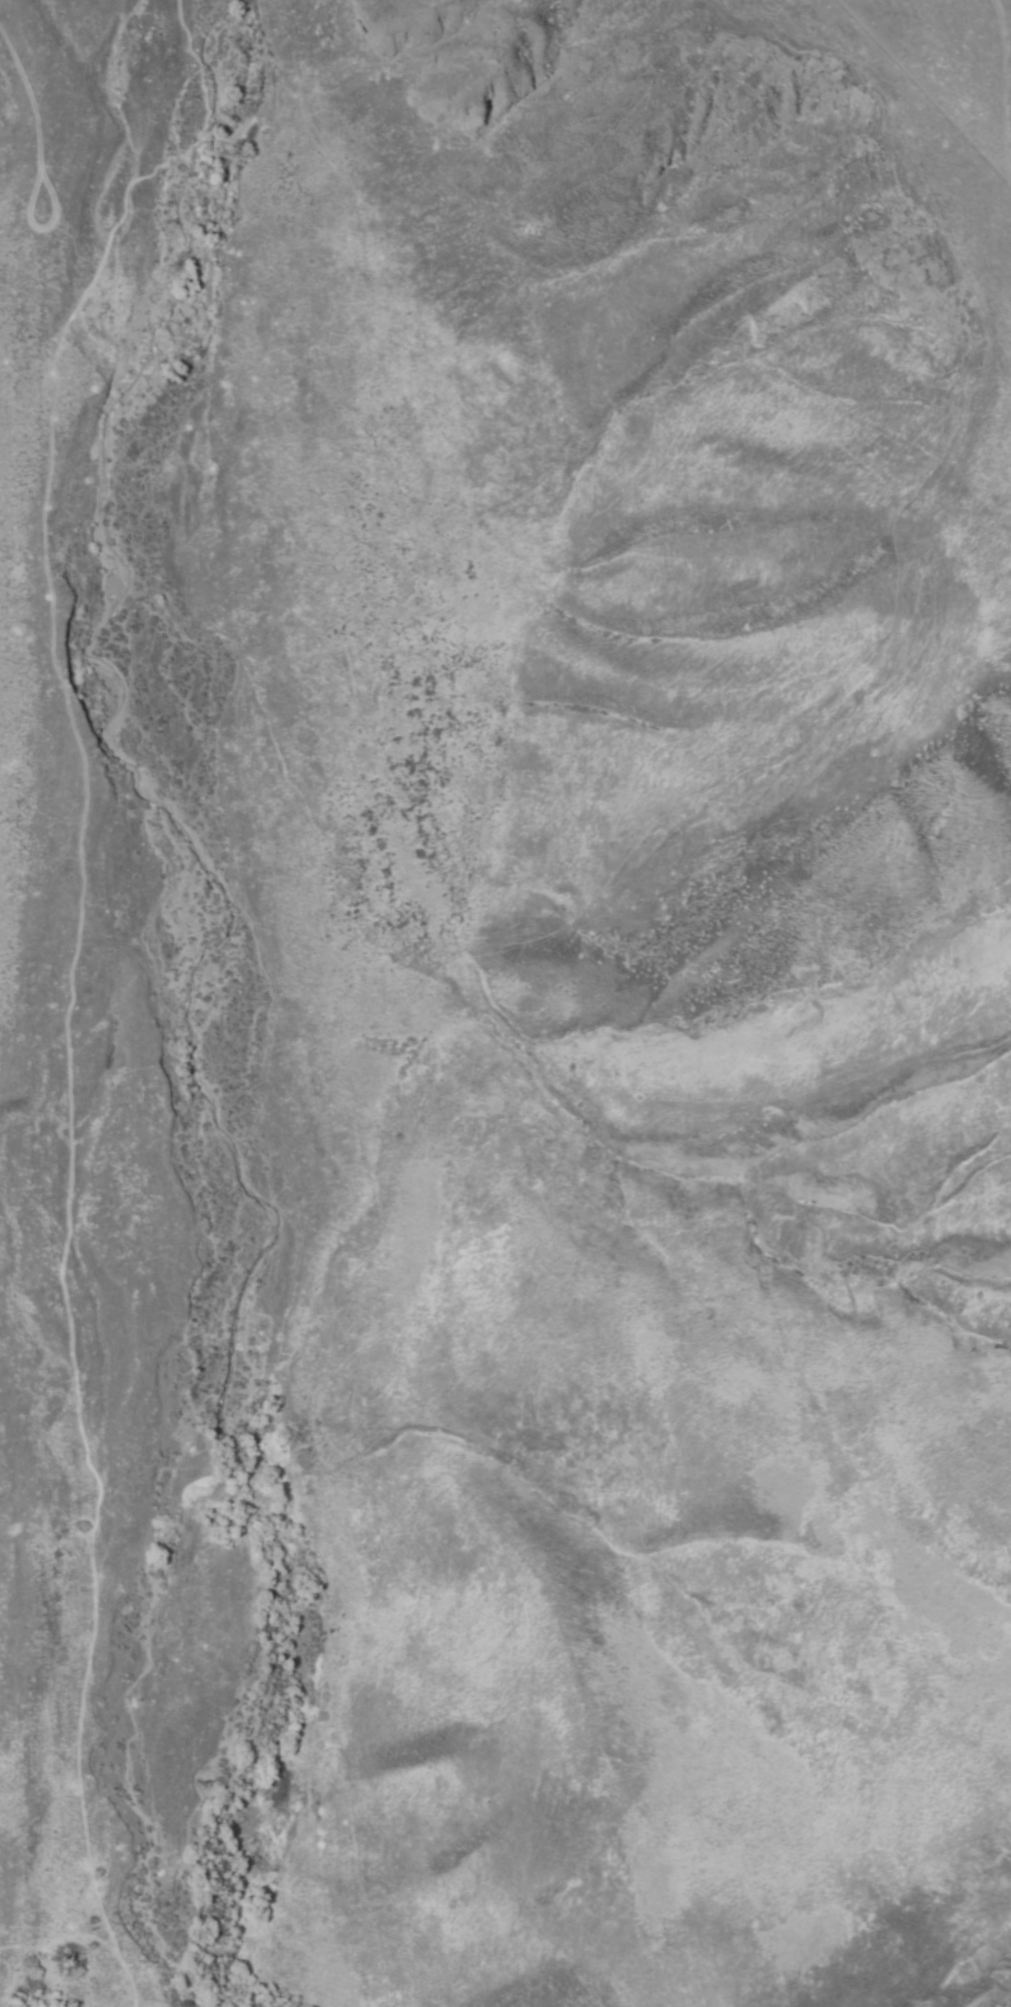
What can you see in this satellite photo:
road: (72, 970)

